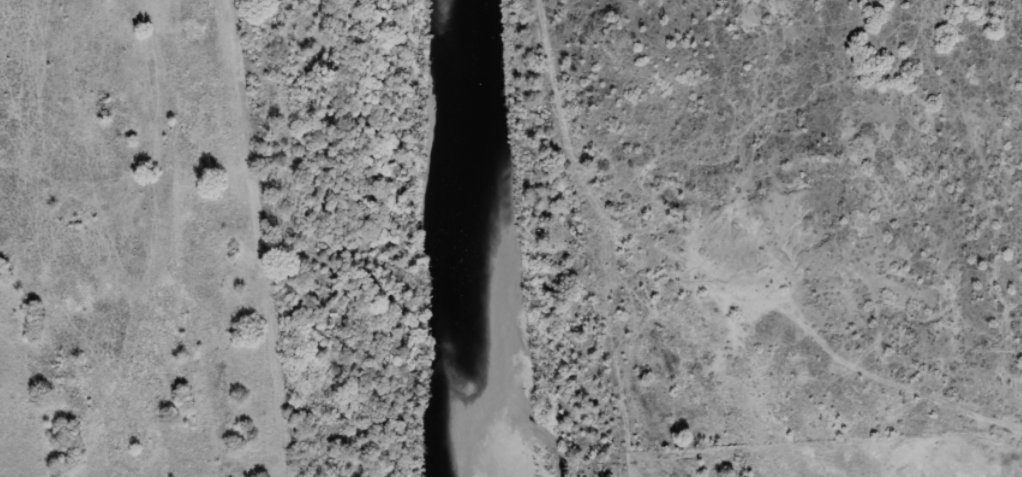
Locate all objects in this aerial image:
river: (473, 238)

